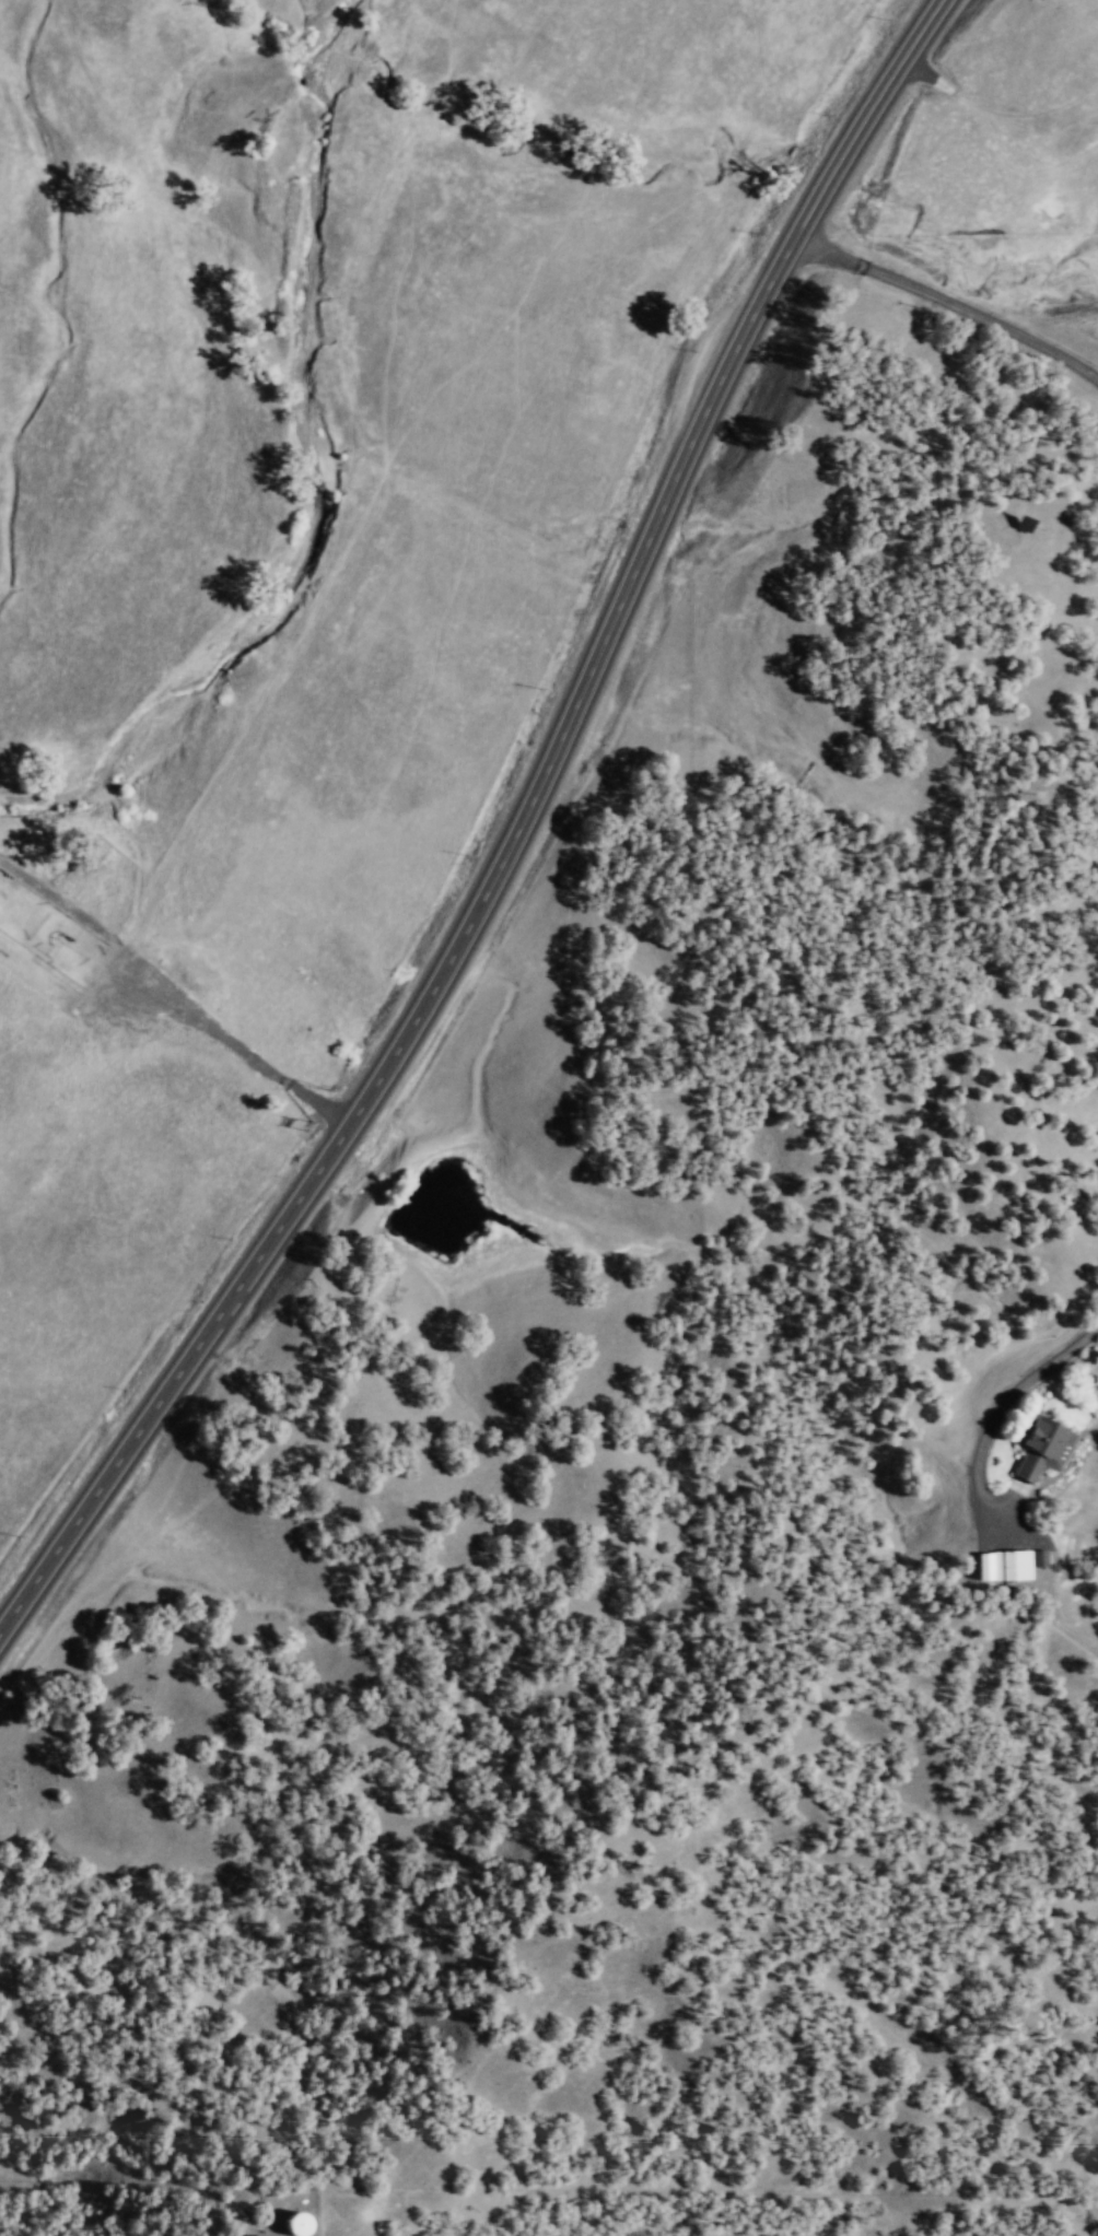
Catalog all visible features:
road: (863, 116)
road: (948, 301)
road: (446, 960)
road: (172, 995)
power tower: (311, 1125)
road: (992, 1414)
building: (1039, 1444)
building: (1002, 1564)
building: (291, 2224)

